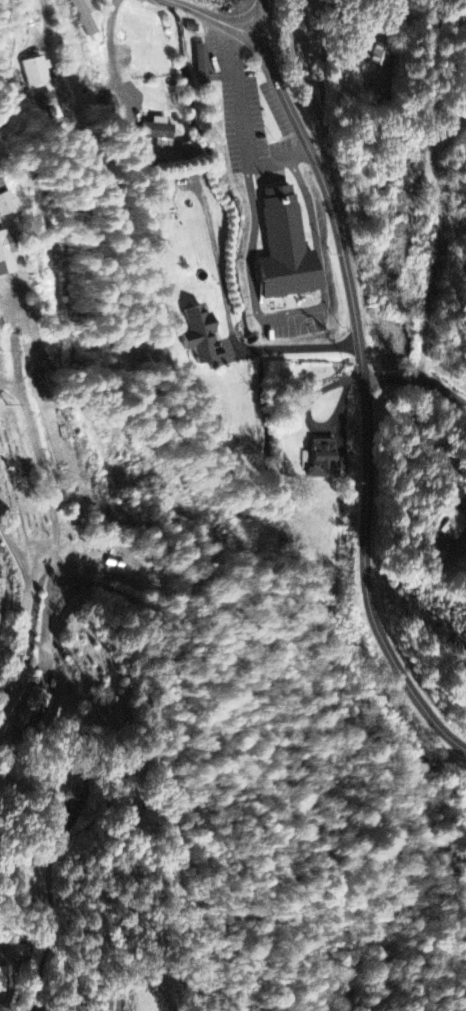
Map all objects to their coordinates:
road: (192, 7)
road: (260, 16)
building: (86, 18)
road: (292, 30)
building: (377, 55)
building: (202, 62)
building: (38, 73)
road: (304, 74)
building: (158, 130)
building: (5, 204)
building: (164, 212)
building: (286, 244)
building: (6, 254)
building: (199, 334)
road: (366, 370)
road: (420, 378)
building: (323, 458)
park: (19, 475)
building: (451, 525)
building: (75, 794)
building: (67, 827)
building: (3, 979)

